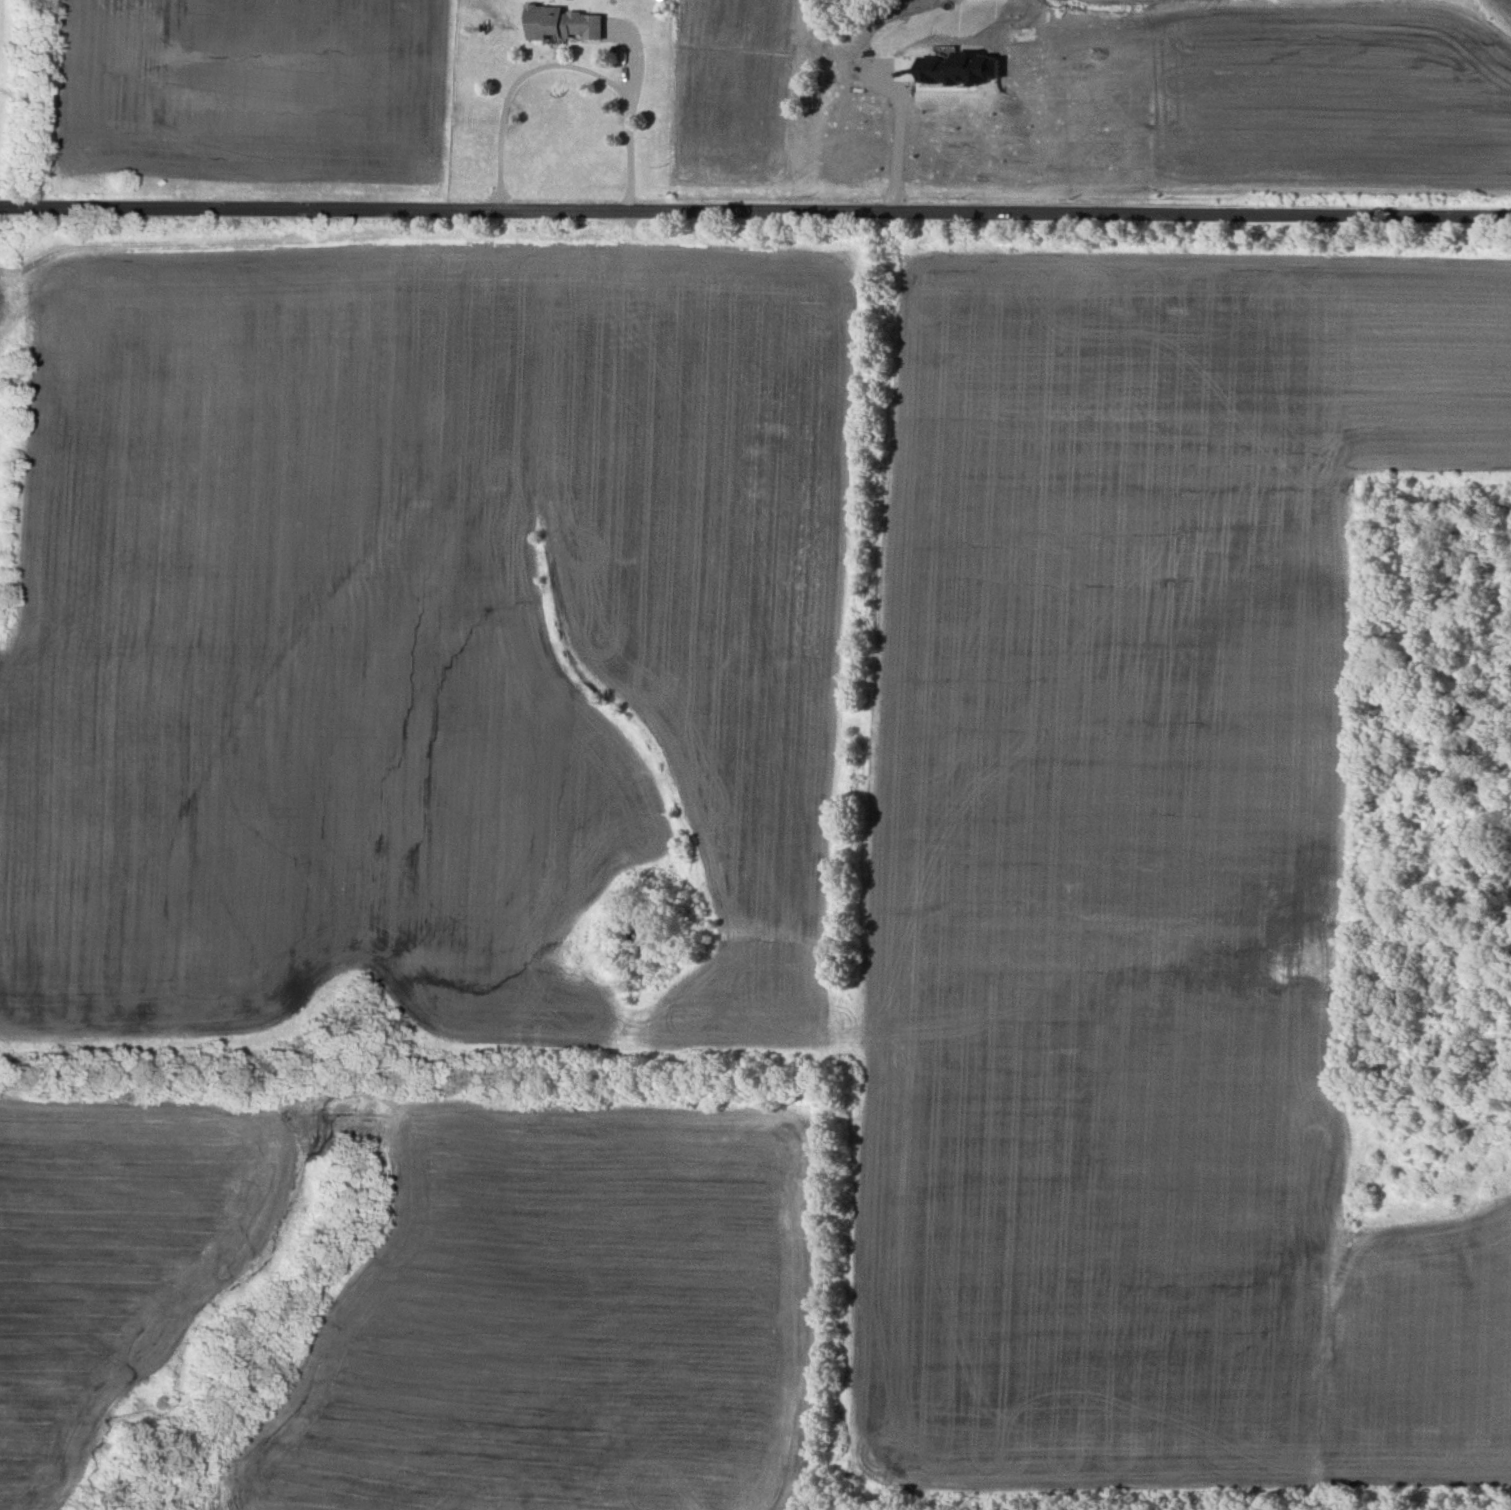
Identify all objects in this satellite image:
building: (562, 24)
road: (557, 52)
road: (621, 63)
road: (565, 65)
road: (640, 67)
building: (960, 68)
crop: (242, 104)
crop: (1096, 107)
road: (897, 142)
road: (755, 211)
crop: (795, 754)
crop: (130, 1246)
crop: (554, 1318)

